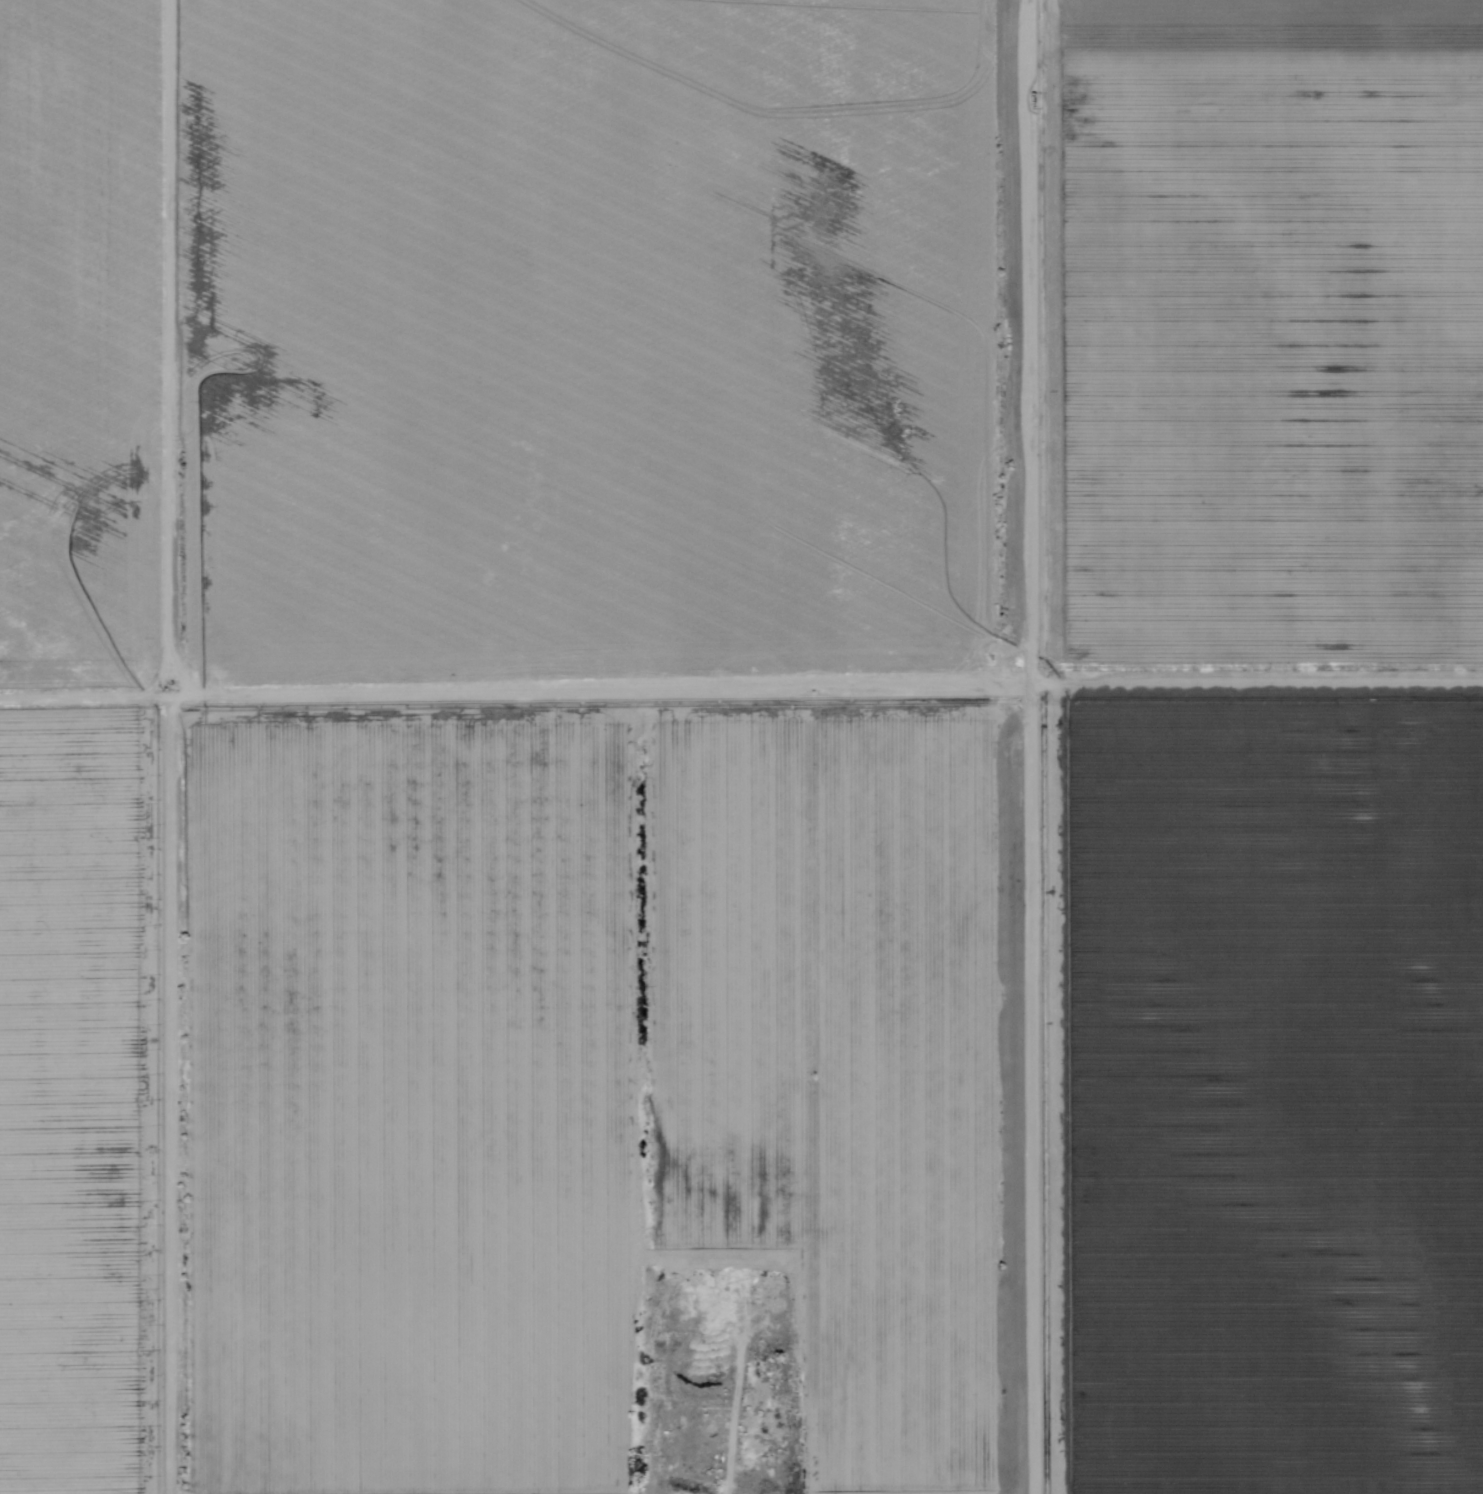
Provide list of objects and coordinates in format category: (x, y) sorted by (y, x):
road: (1031, 342)
road: (271, 673)
road: (1253, 686)
road: (603, 687)
crop: (673, 748)

